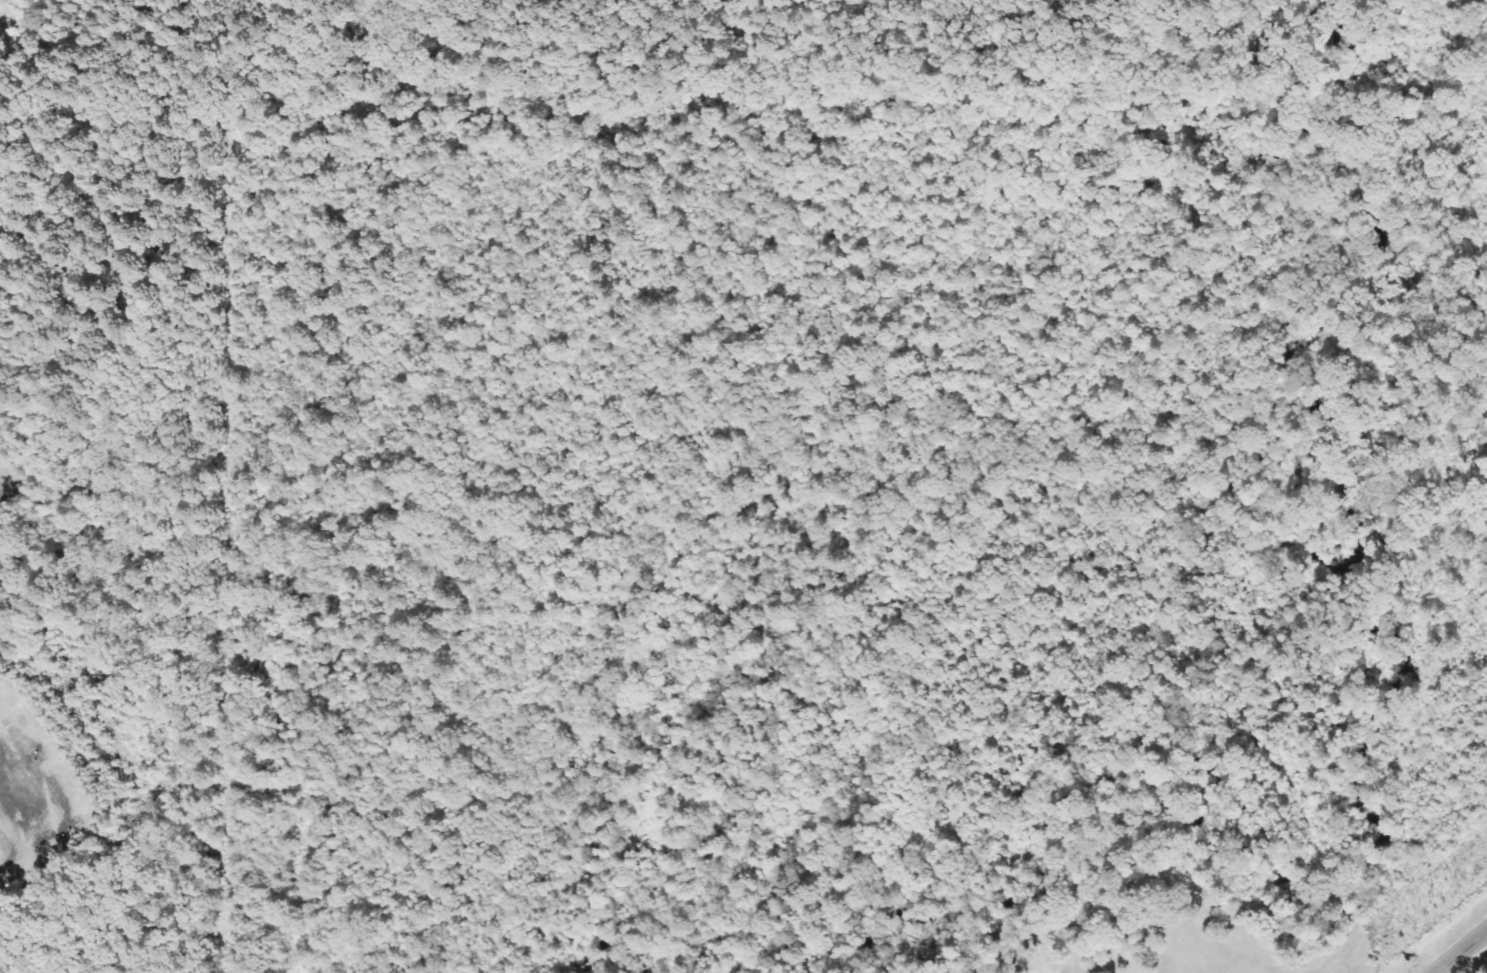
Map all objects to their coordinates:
road: (1457, 949)

